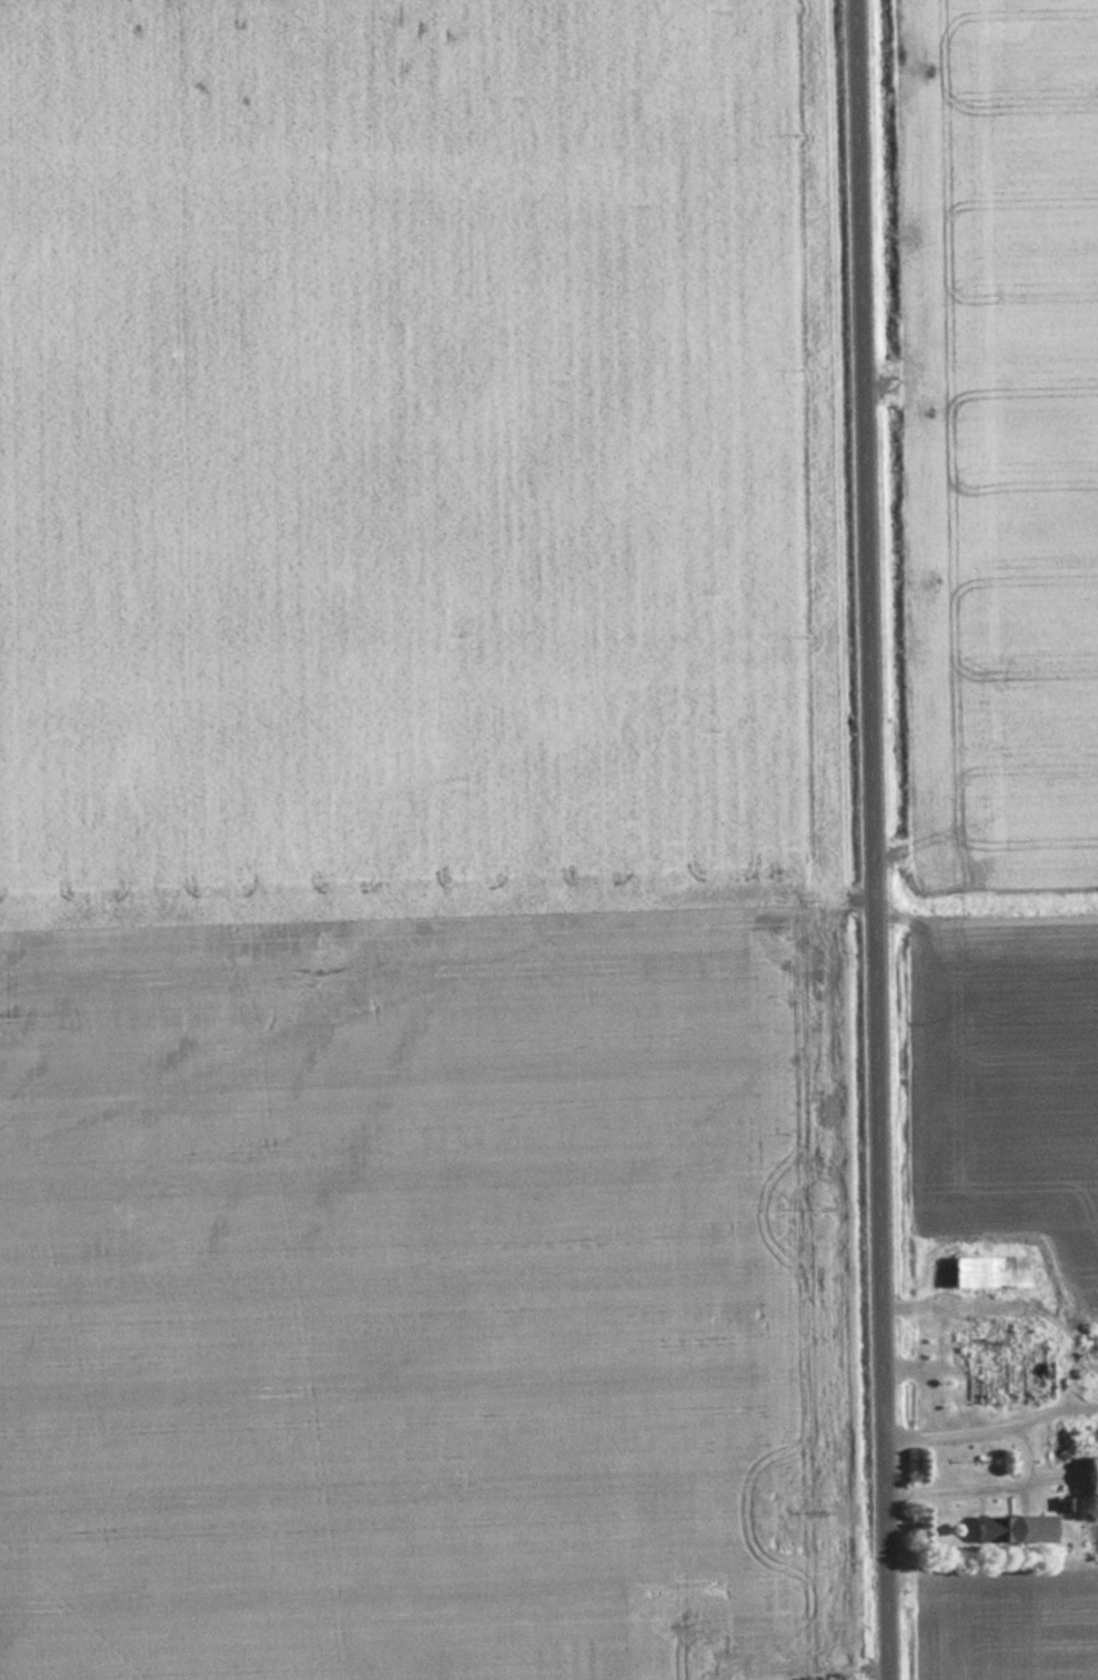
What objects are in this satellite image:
road: (879, 840)
building: (987, 1269)
building: (997, 1360)
building: (1094, 1426)
building: (1091, 1475)
building: (1014, 1528)

